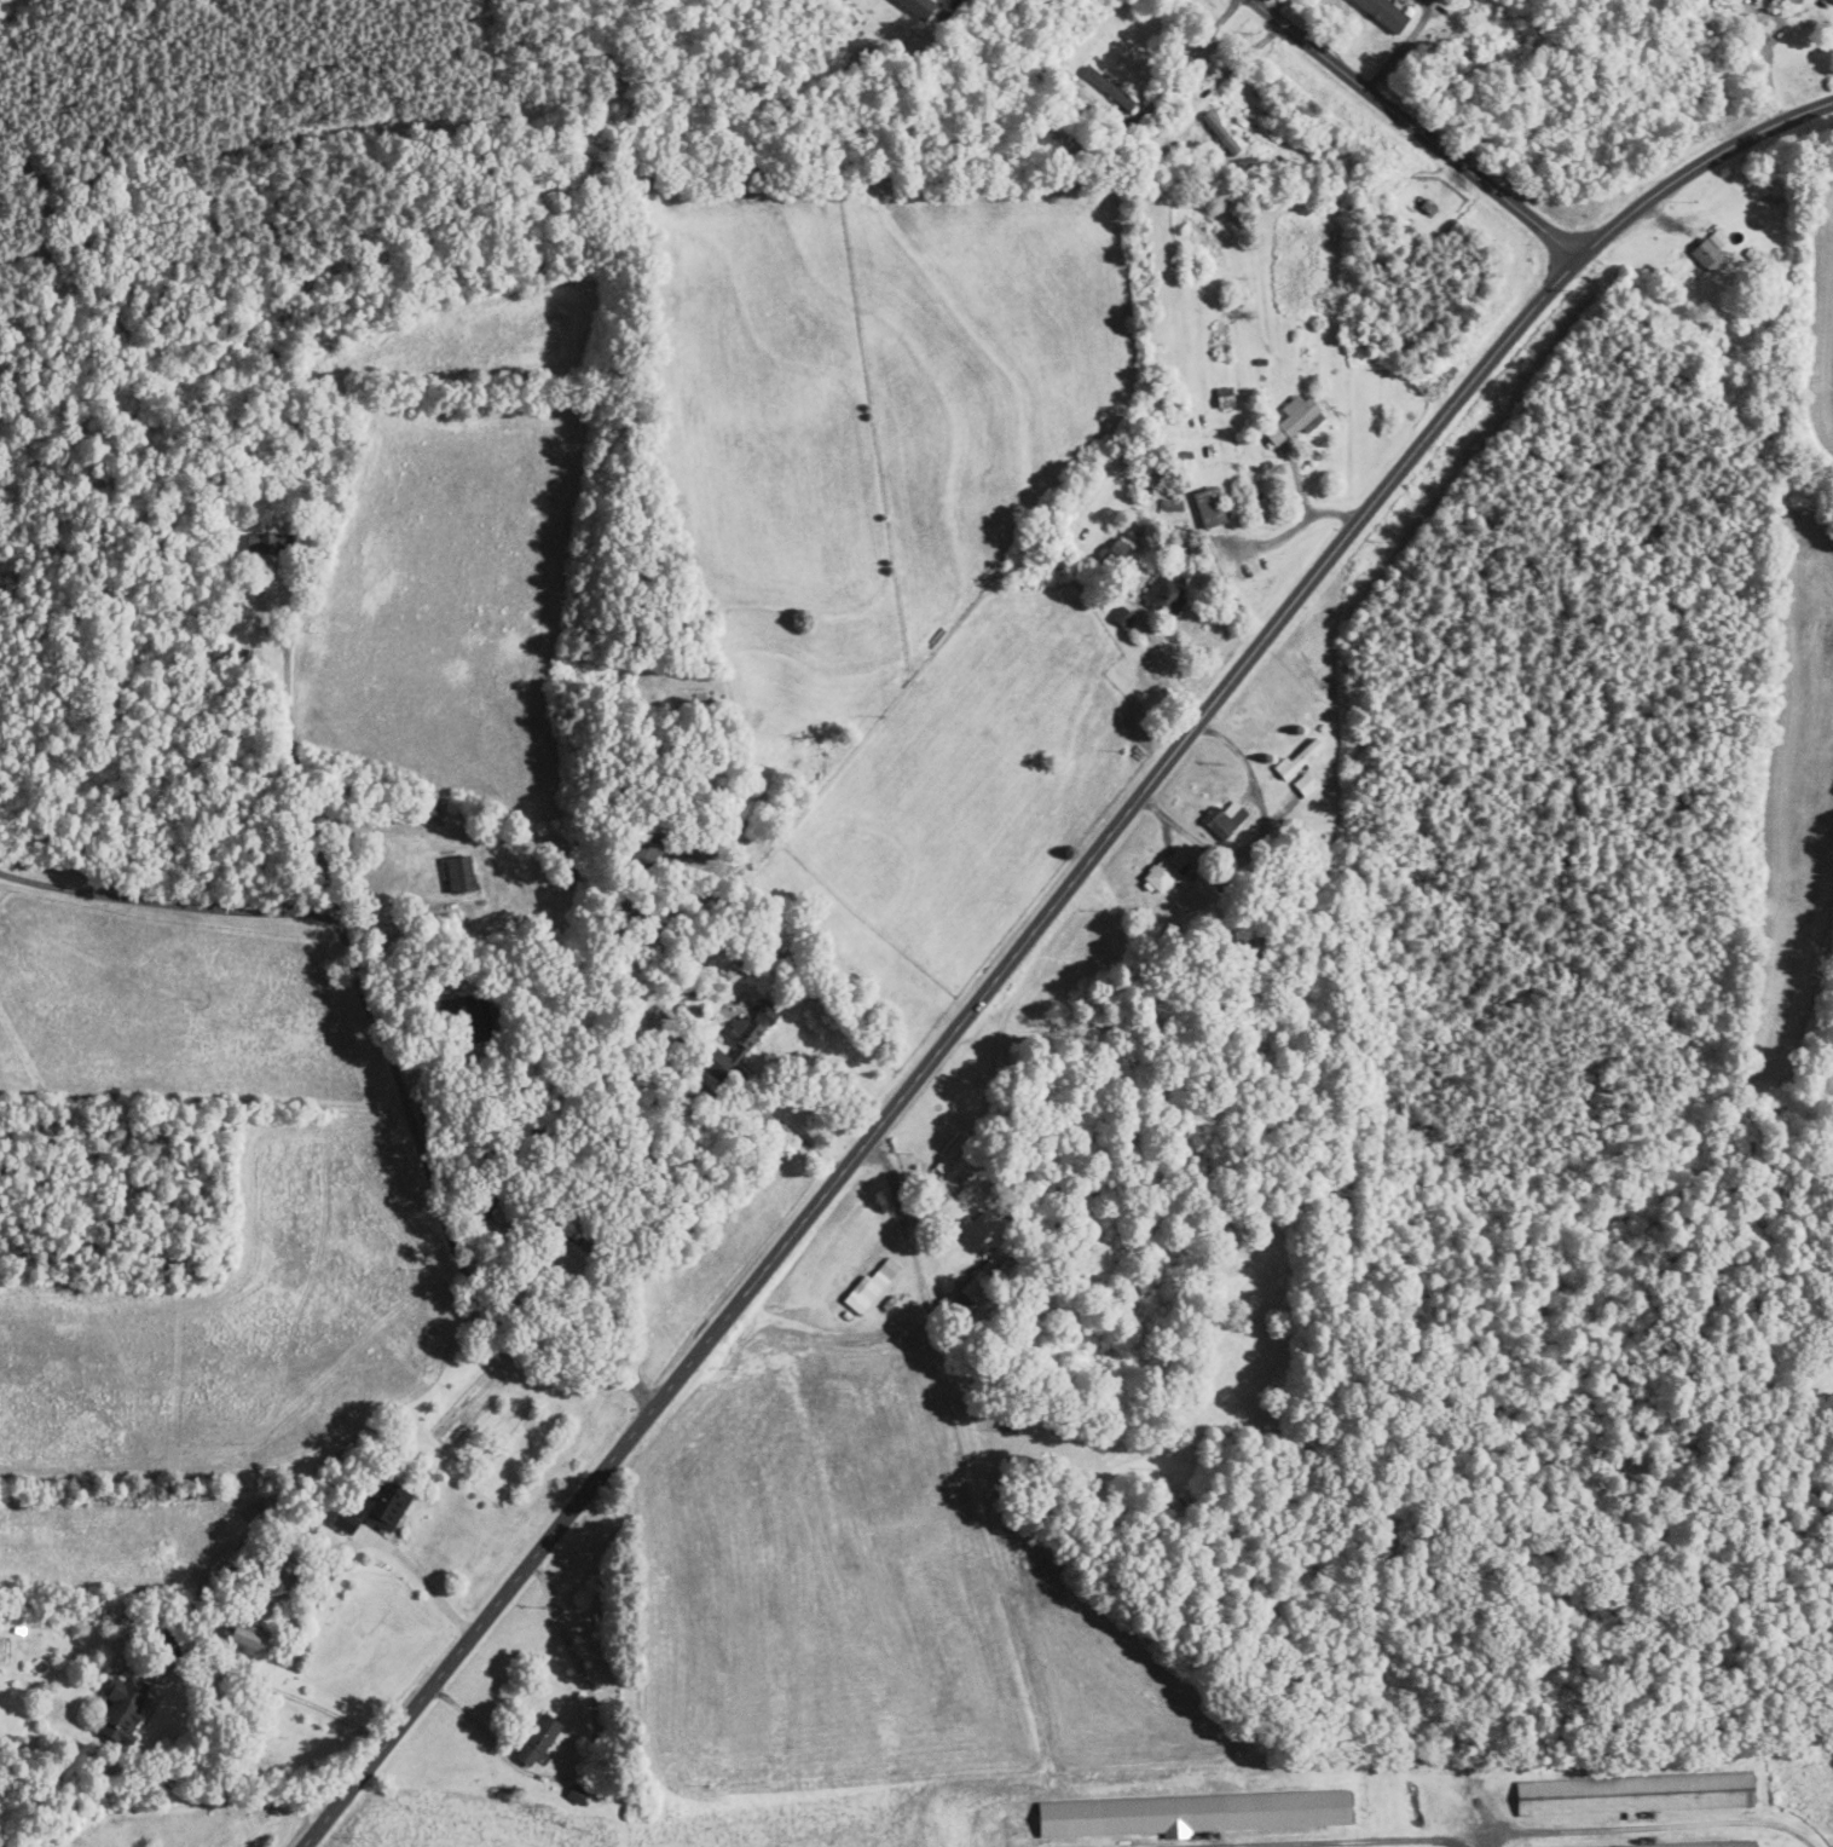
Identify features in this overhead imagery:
building: (1773, 0)
building: (1832, 0)
road: (953, 4)
building: (916, 7)
road: (1276, 7)
building: (1382, 12)
road: (1759, 42)
road: (1401, 46)
road: (1192, 53)
road: (1237, 63)
building: (1108, 87)
road: (1412, 128)
building: (1220, 132)
building: (1710, 252)
building: (1224, 398)
building: (1289, 420)
building: (1208, 507)
building: (264, 544)
building: (1112, 554)
road: (1161, 660)
building: (1296, 758)
building: (1303, 783)
road: (1260, 839)
building: (1175, 858)
building: (457, 872)
building: (1160, 875)
road: (173, 902)
road: (1033, 933)
building: (742, 1039)
road: (392, 1062)
road: (792, 1136)
building: (868, 1286)
road: (985, 1503)
building: (372, 1508)
road: (420, 1578)
building: (245, 1639)
road: (260, 1684)
building: (121, 1710)
building: (536, 1739)
road: (592, 1754)
building: (1633, 1793)
building: (1192, 1813)
road: (1650, 1826)
road: (1389, 1842)

